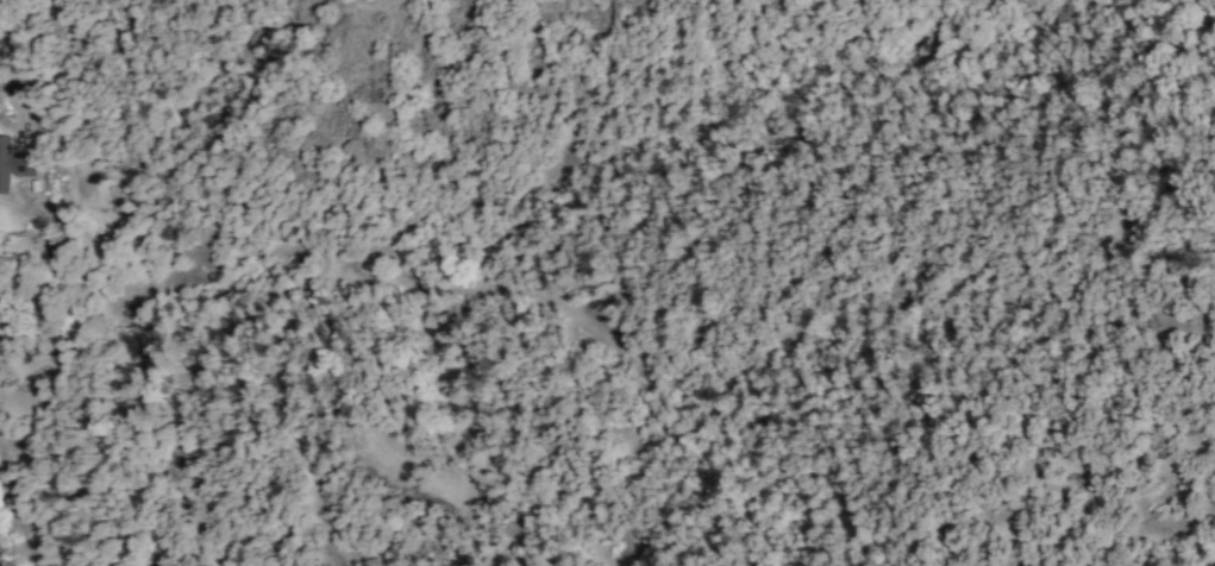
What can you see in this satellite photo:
road: (11, 75)
building: (13, 164)
road: (280, 276)

